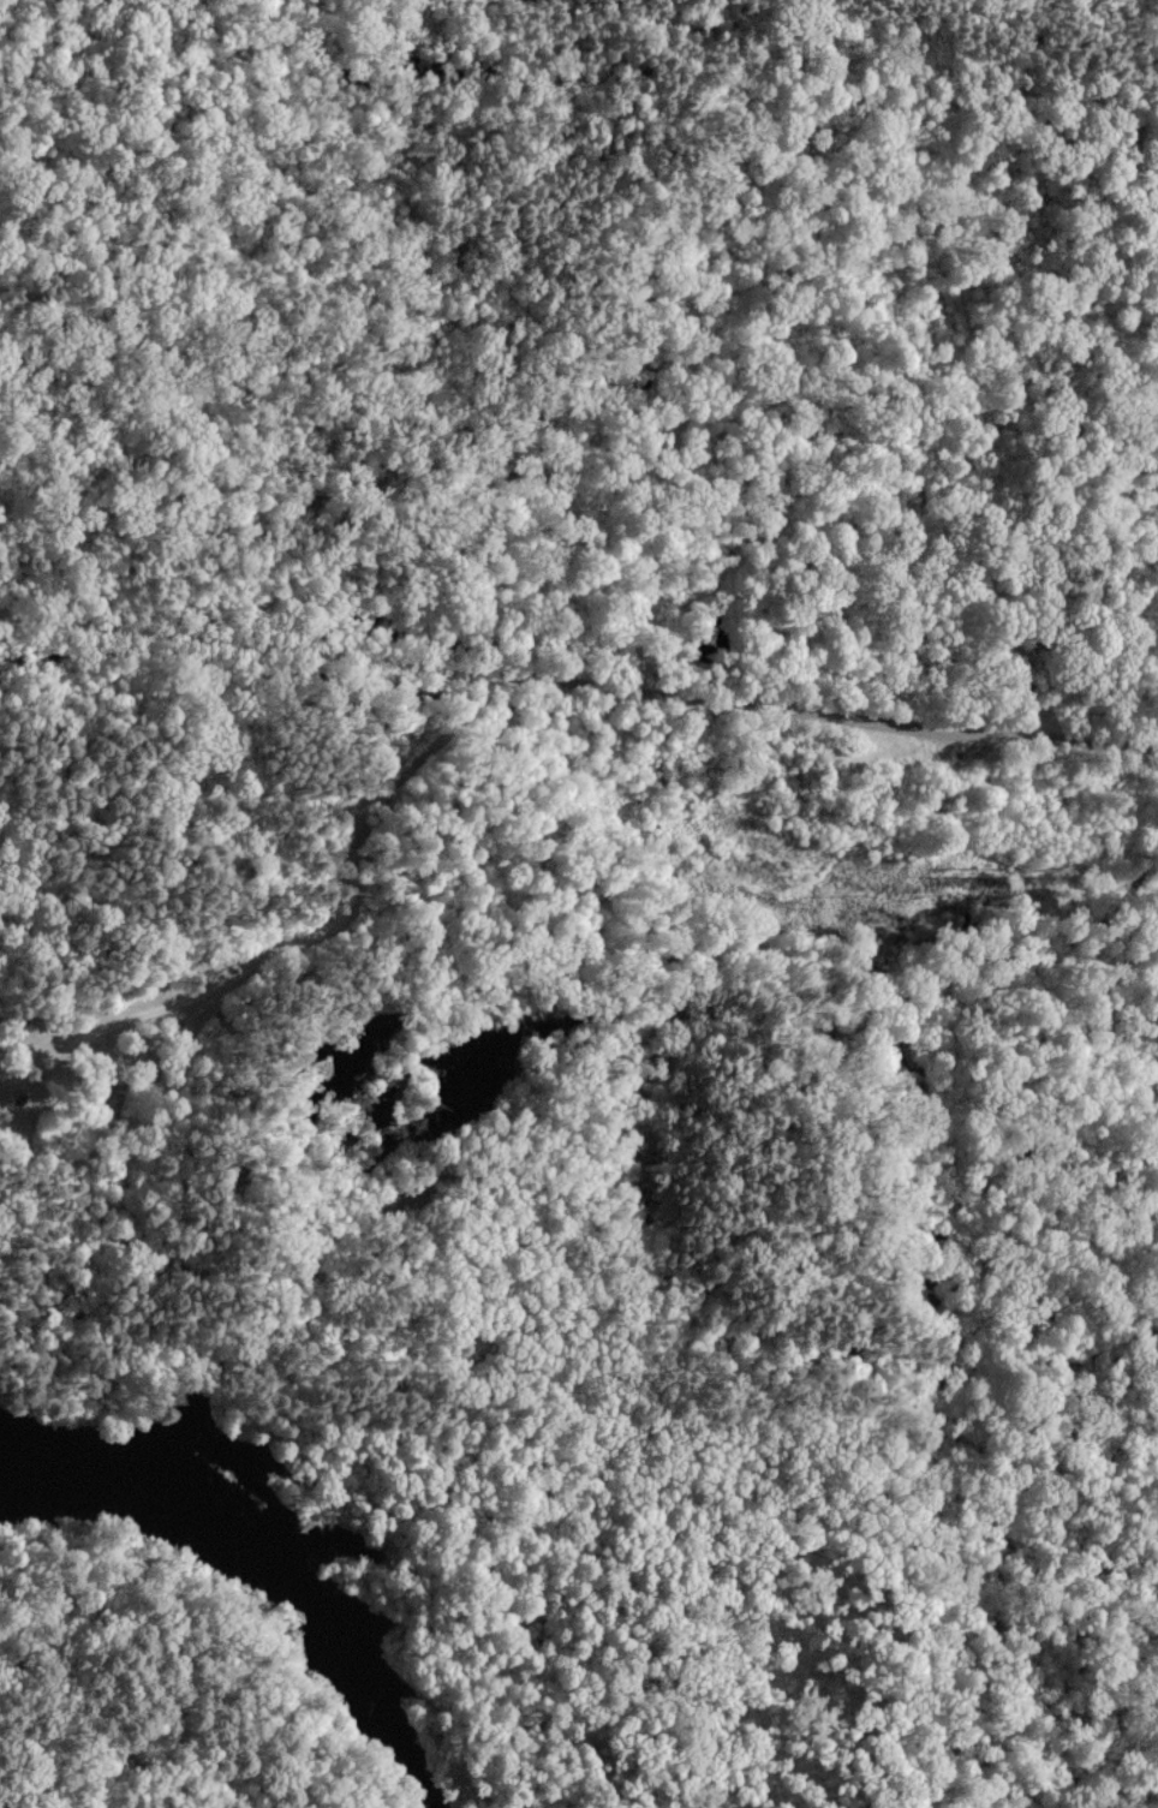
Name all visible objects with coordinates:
road: (489, 687)

